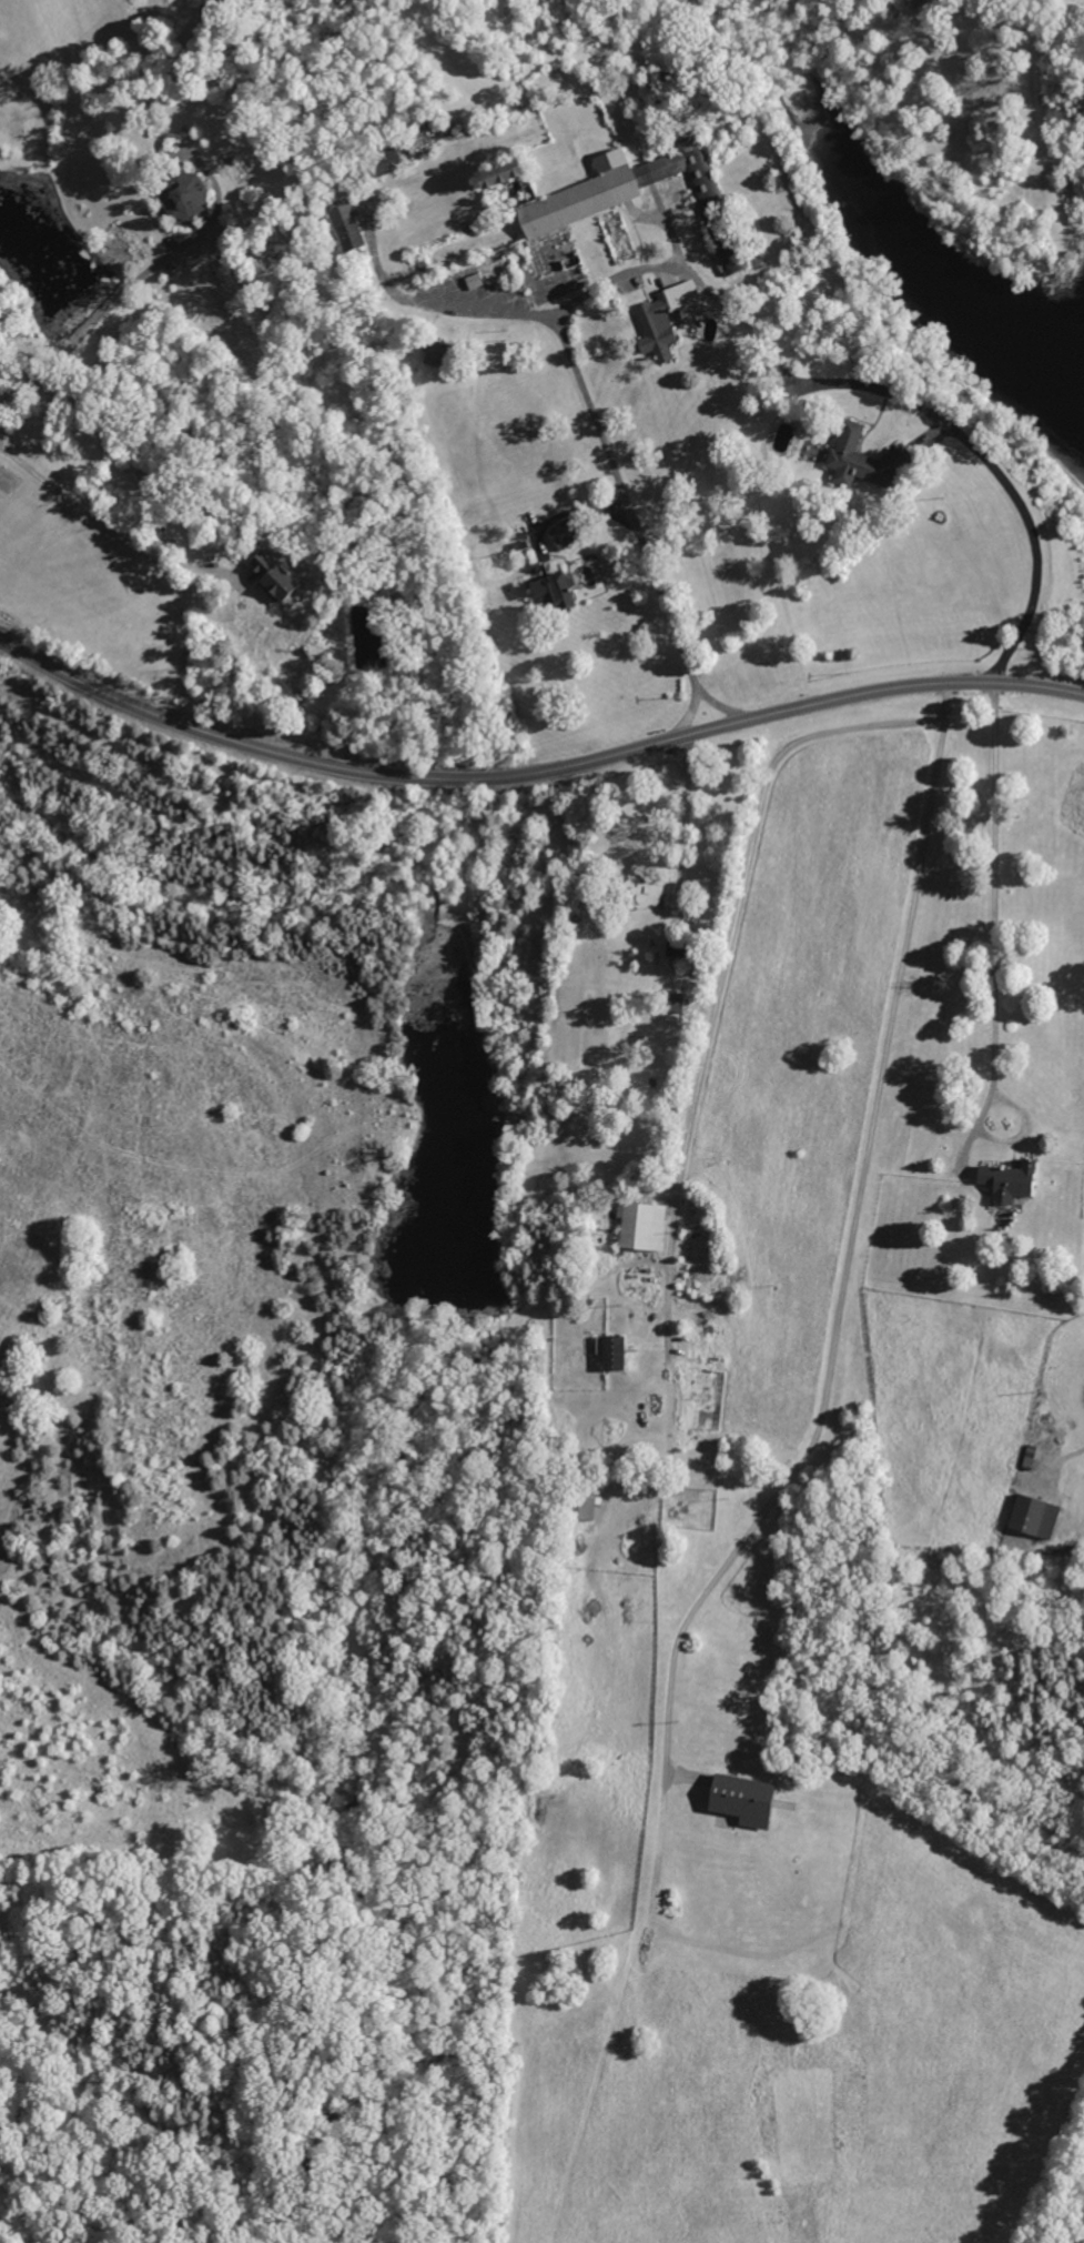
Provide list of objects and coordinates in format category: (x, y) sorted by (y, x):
building: (524, 173)
building: (600, 191)
building: (188, 201)
building: (349, 224)
road: (99, 312)
building: (661, 320)
building: (438, 353)
road: (936, 414)
road: (600, 434)
building: (868, 460)
road: (110, 529)
building: (565, 533)
building: (284, 579)
building: (556, 593)
road: (723, 706)
road: (533, 772)
road: (685, 821)
road: (992, 898)
road: (729, 939)
building: (1012, 1181)
building: (644, 1226)
road: (840, 1259)
building: (614, 1354)
building: (1027, 1517)
building: (735, 1799)

